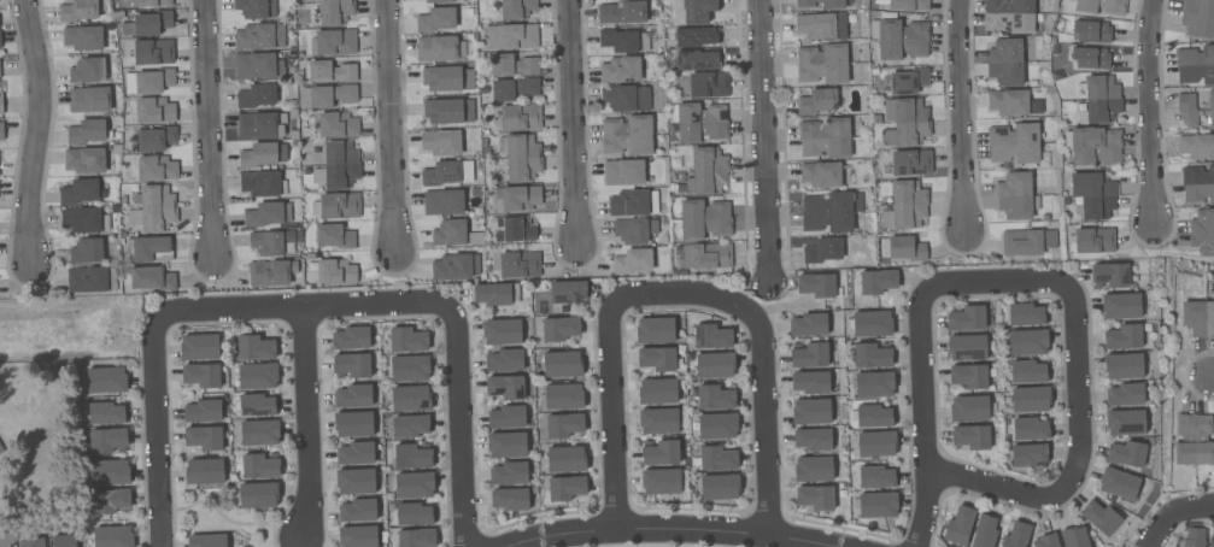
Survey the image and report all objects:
building: (439, 1)
building: (151, 2)
building: (825, 4)
building: (909, 5)
building: (1101, 6)
building: (256, 8)
building: (516, 8)
building: (78, 10)
building: (334, 11)
building: (698, 11)
building: (622, 12)
building: (1009, 16)
building: (1197, 18)
building: (436, 19)
building: (147, 23)
building: (821, 25)
building: (1091, 31)
building: (259, 36)
building: (510, 36)
building: (696, 36)
building: (83, 37)
building: (899, 37)
building: (623, 40)
building: (333, 42)
building: (439, 48)
building: (153, 52)
building: (698, 58)
building: (1090, 58)
building: (1005, 61)
building: (822, 64)
building: (258, 65)
building: (512, 65)
building: (1195, 65)
building: (620, 69)
building: (86, 70)
building: (332, 71)
building: (446, 77)
building: (148, 81)
building: (908, 81)
building: (708, 84)
building: (514, 89)
building: (262, 95)
building: (328, 95)
building: (626, 98)
building: (89, 99)
building: (1099, 99)
building: (817, 101)
building: (0, 102)
building: (1013, 102)
building: (1210, 108)
building: (151, 110)
building: (1186, 110)
building: (442, 111)
road: (1153, 111)
road: (962, 114)
building: (520, 117)
building: (875, 119)
building: (699, 122)
building: (905, 122)
building: (263, 123)
road: (575, 123)
building: (338, 124)
road: (392, 127)
road: (209, 128)
building: (673, 128)
road: (42, 130)
building: (1, 131)
building: (86, 131)
building: (627, 135)
building: (825, 137)
building: (156, 139)
road: (767, 140)
building: (441, 142)
building: (1014, 143)
building: (1092, 146)
building: (1197, 146)
building: (262, 154)
building: (521, 157)
building: (84, 160)
building: (911, 163)
building: (338, 165)
building: (157, 169)
building: (708, 171)
building: (623, 172)
building: (440, 173)
building: (821, 175)
building: (680, 177)
building: (260, 183)
building: (1197, 184)
building: (78, 192)
building: (1016, 195)
building: (1092, 195)
building: (518, 198)
building: (444, 202)
building: (633, 202)
building: (336, 206)
building: (905, 206)
building: (153, 208)
building: (831, 212)
building: (264, 214)
building: (704, 219)
building: (83, 220)
building: (514, 229)
building: (634, 230)
building: (1202, 231)
building: (451, 234)
building: (334, 236)
building: (1093, 240)
building: (270, 241)
building: (1027, 241)
building: (905, 248)
building: (149, 249)
building: (86, 251)
building: (822, 251)
building: (706, 255)
building: (635, 260)
building: (520, 265)
building: (456, 266)
building: (335, 271)
building: (270, 272)
building: (1109, 275)
building: (149, 278)
building: (90, 280)
building: (876, 281)
building: (816, 284)
building: (568, 292)
building: (493, 294)
road: (432, 305)
building: (1121, 306)
building: (1022, 314)
building: (1198, 317)
building: (966, 318)
building: (872, 323)
building: (809, 324)
building: (559, 329)
building: (655, 330)
building: (502, 331)
building: (711, 336)
building: (351, 337)
building: (1122, 337)
building: (406, 340)
building: (1027, 342)
building: (199, 347)
building: (967, 347)
building: (254, 348)
building: (809, 354)
building: (872, 355)
building: (656, 359)
building: (504, 360)
building: (562, 364)
building: (351, 365)
building: (714, 365)
building: (1122, 366)
building: (409, 369)
building: (1027, 371)
building: (201, 375)
building: (257, 376)
building: (968, 376)
building: (106, 381)
building: (811, 382)
road: (764, 384)
building: (874, 384)
building: (504, 387)
road: (609, 388)
road: (1079, 388)
building: (657, 392)
building: (1125, 394)
building: (353, 396)
building: (410, 398)
building: (561, 398)
building: (714, 398)
building: (1030, 399)
building: (257, 405)
building: (970, 408)
building: (203, 411)
building: (810, 411)
building: (106, 413)
building: (874, 416)
building: (506, 417)
building: (657, 420)
building: (1125, 422)
building: (353, 423)
building: (530, 423)
road: (925, 423)
road: (307, 424)
building: (563, 425)
building: (410, 427)
building: (717, 427)
road: (154, 428)
building: (1030, 429)
building: (259, 433)
building: (970, 436)
building: (204, 437)
building: (813, 439)
building: (107, 440)
building: (1194, 440)
building: (875, 443)
building: (506, 445)
building: (1, 448)
building: (0, 452)
building: (354, 453)
building: (659, 453)
building: (1027, 454)
building: (1126, 454)
building: (412, 455)
building: (716, 458)
building: (565, 459)
building: (259, 466)
building: (813, 469)
building: (204, 471)
building: (110, 472)
building: (530, 472)
building: (509, 474)
building: (876, 476)
building: (354, 481)
building: (663, 481)
building: (414, 484)
building: (1118, 484)
building: (719, 487)
building: (565, 488)
building: (258, 495)
building: (815, 496)
building: (509, 499)
building: (109, 500)
building: (876, 505)
building: (357, 510)
building: (414, 513)
building: (1099, 517)
road: (1179, 519)
building: (958, 525)
building: (984, 531)
road: (665, 533)
building: (1015, 535)
building: (1194, 535)
building: (1212, 535)
building: (112, 536)
building: (357, 536)
building: (416, 537)
building: (1074, 537)
building: (206, 540)
building: (64, 541)
building: (1045, 541)
building: (31, 542)
road: (305, 542)

